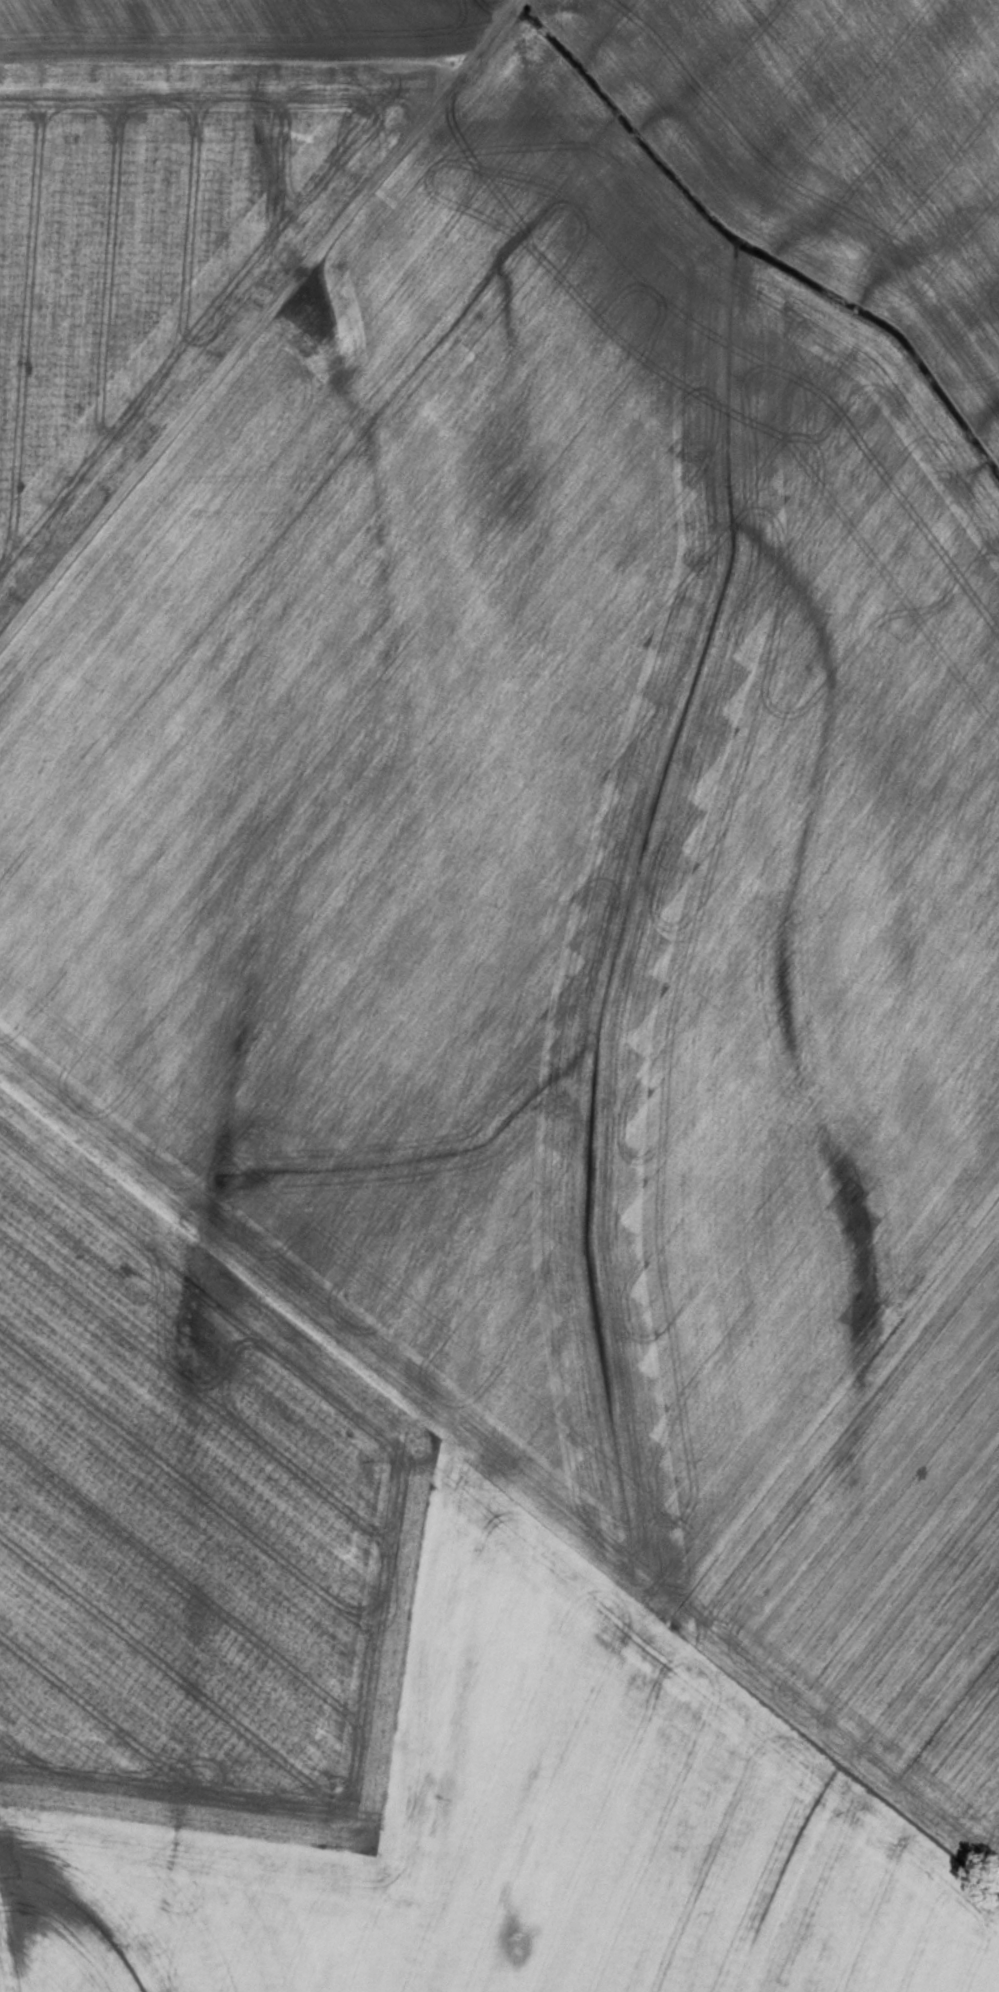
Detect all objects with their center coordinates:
road: (250, 319)
road: (997, 1876)

